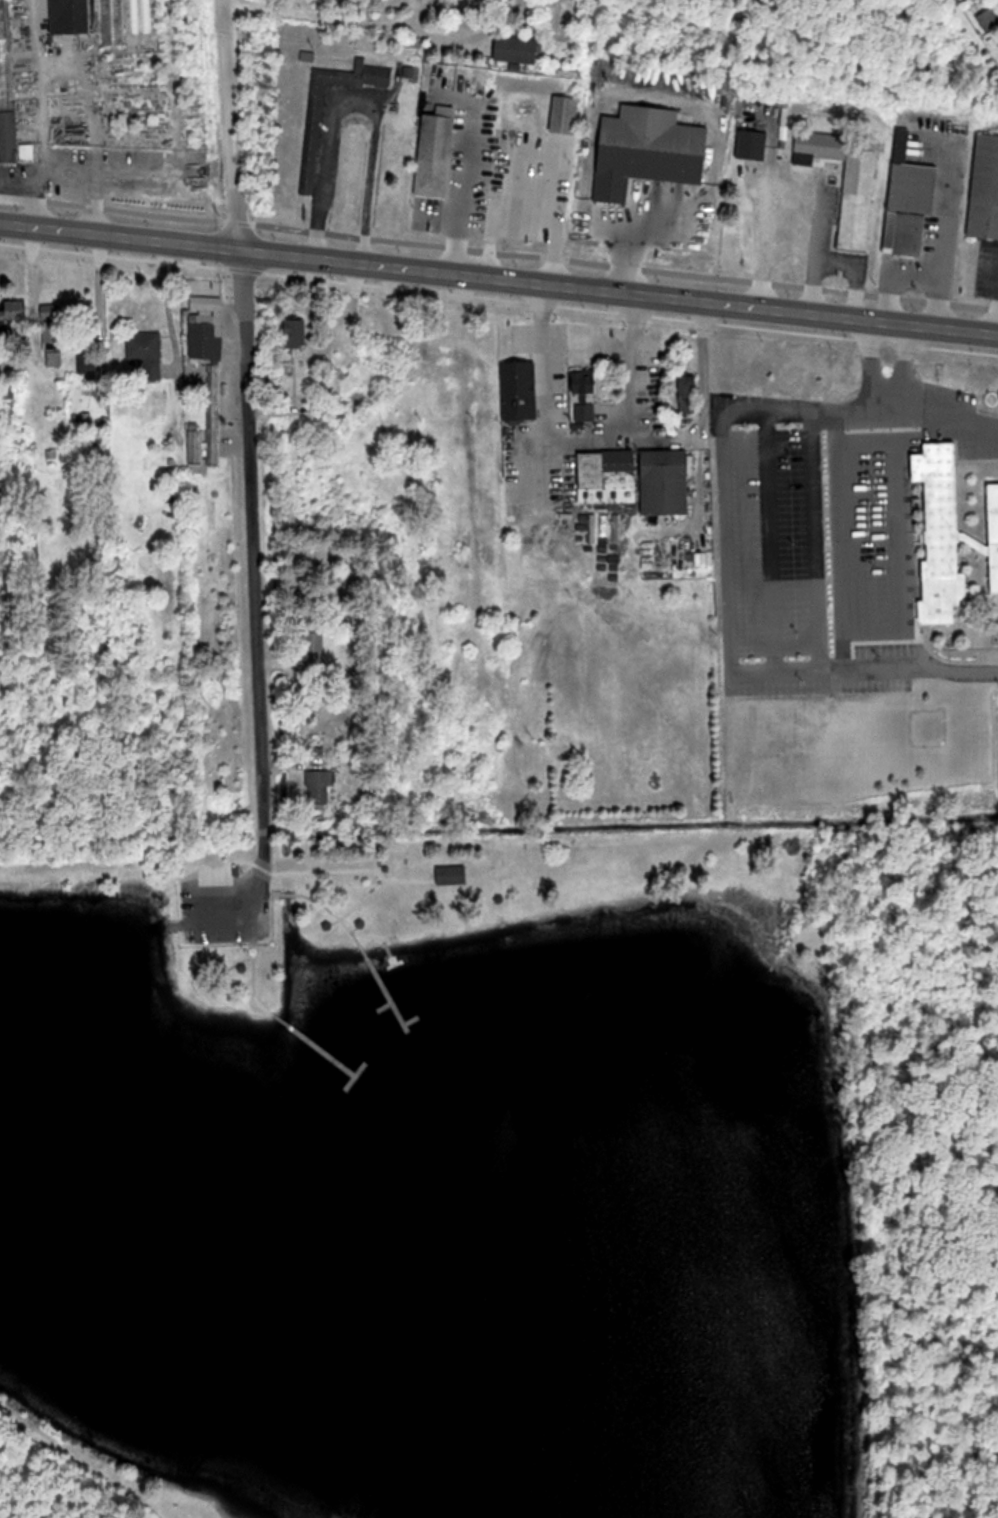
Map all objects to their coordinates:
road: (418, 12)
road: (316, 13)
building: (72, 16)
building: (139, 16)
building: (989, 19)
road: (470, 37)
building: (519, 48)
building: (7, 97)
building: (314, 143)
building: (754, 144)
building: (651, 150)
building: (437, 151)
building: (848, 180)
building: (909, 187)
building: (986, 189)
building: (539, 194)
road: (499, 277)
building: (13, 311)
building: (208, 327)
building: (297, 332)
building: (53, 335)
building: (147, 352)
building: (89, 364)
building: (521, 390)
building: (586, 392)
building: (10, 394)
road: (245, 440)
road: (472, 445)
building: (197, 450)
building: (608, 475)
building: (667, 480)
building: (994, 530)
building: (943, 531)
road: (725, 563)
building: (315, 648)
building: (319, 787)
road: (380, 867)
road: (91, 869)
road: (310, 872)
building: (453, 874)
building: (215, 875)
road: (384, 885)
road: (274, 896)
road: (288, 896)
parking lot: (226, 911)
road: (333, 913)
road: (337, 922)
building: (362, 923)
building: (329, 925)
road: (356, 930)
road: (249, 953)
road: (235, 965)
building: (243, 967)
building: (210, 968)
road: (255, 977)
road: (833, 980)
road: (383, 985)
road: (387, 1006)
road: (412, 1021)
road: (314, 1042)
road: (357, 1076)
park: (502, 1174)
road: (99, 1459)

